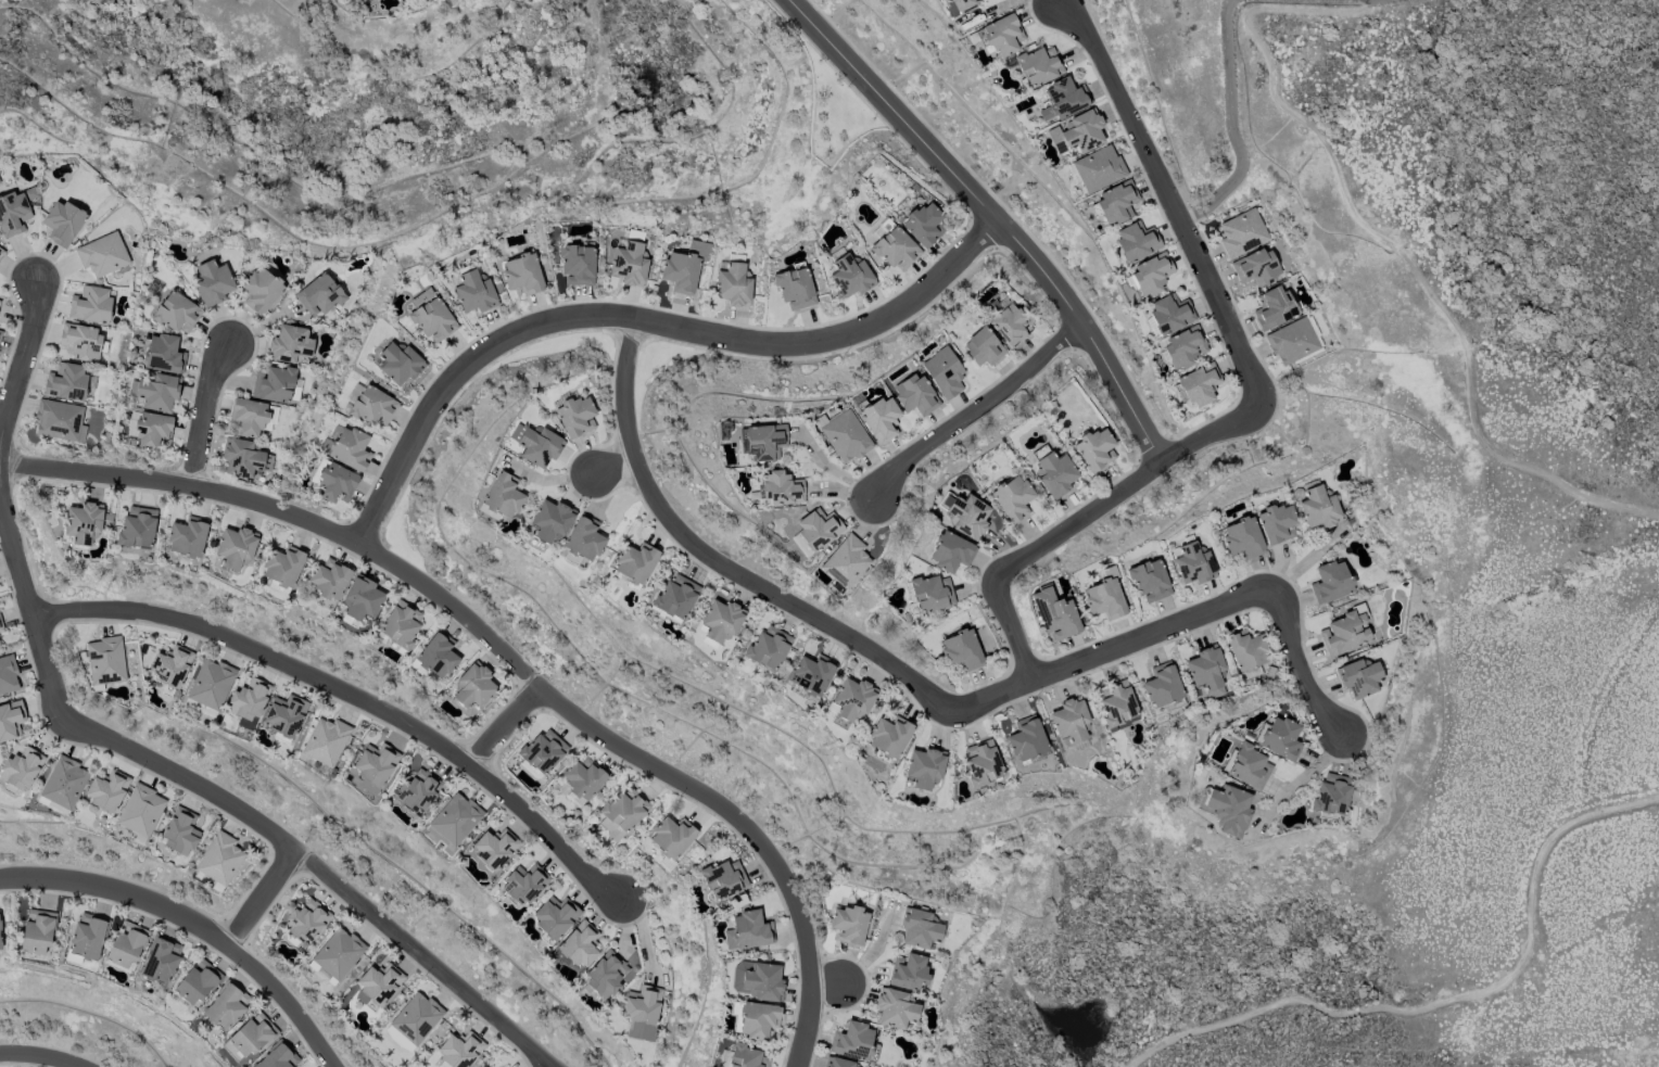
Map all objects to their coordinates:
building: (945, 1)
road: (1229, 1)
road: (1233, 2)
road: (1239, 5)
building: (960, 7)
road: (1307, 10)
road: (1244, 15)
building: (1002, 35)
building: (1038, 66)
building: (1064, 98)
road: (1231, 125)
building: (1077, 132)
building: (1096, 169)
road: (1166, 196)
building: (1115, 202)
building: (13, 214)
road: (991, 216)
building: (63, 223)
building: (923, 225)
building: (1242, 232)
building: (1134, 242)
building: (892, 245)
building: (1, 252)
building: (102, 254)
building: (630, 259)
building: (578, 264)
building: (1255, 267)
building: (683, 268)
building: (522, 274)
building: (1149, 275)
building: (851, 276)
building: (211, 282)
building: (733, 284)
building: (795, 287)
building: (261, 290)
building: (472, 290)
building: (319, 295)
building: (90, 304)
road: (1434, 304)
building: (1274, 307)
building: (175, 312)
building: (430, 315)
building: (1167, 315)
road: (642, 323)
building: (1006, 323)
building: (0, 334)
building: (81, 341)
building: (1294, 341)
building: (290, 344)
building: (983, 347)
building: (1182, 347)
building: (163, 354)
road: (22, 357)
building: (398, 363)
building: (942, 371)
building: (66, 382)
building: (276, 384)
building: (1198, 385)
building: (155, 392)
building: (914, 395)
building: (370, 405)
road: (976, 414)
building: (575, 415)
road: (200, 416)
building: (252, 417)
building: (877, 417)
building: (59, 420)
building: (149, 429)
road: (1213, 433)
building: (844, 434)
building: (763, 441)
building: (539, 446)
building: (346, 447)
building: (1093, 448)
building: (243, 458)
road: (607, 470)
building: (1052, 471)
building: (333, 481)
building: (777, 490)
building: (502, 496)
building: (1012, 498)
building: (1318, 508)
building: (967, 516)
building: (550, 521)
road: (1084, 523)
building: (1275, 523)
building: (80, 525)
building: (137, 528)
building: (815, 531)
building: (188, 536)
building: (1243, 538)
building: (583, 539)
building: (235, 548)
building: (950, 551)
building: (636, 562)
building: (845, 562)
building: (1191, 563)
road: (710, 567)
building: (281, 568)
building: (328, 579)
building: (1148, 580)
building: (1330, 582)
building: (927, 595)
building: (1104, 595)
building: (674, 598)
building: (360, 600)
building: (1053, 612)
road: (27, 619)
building: (719, 622)
building: (397, 625)
building: (0, 626)
building: (1345, 632)
road: (1012, 633)
building: (767, 649)
building: (1248, 649)
building: (961, 650)
road: (1110, 652)
building: (435, 656)
road: (502, 658)
building: (105, 661)
road: (1301, 666)
building: (170, 668)
building: (1206, 672)
building: (8, 674)
building: (811, 675)
building: (1359, 677)
building: (210, 686)
building: (1163, 688)
building: (471, 689)
road: (350, 697)
building: (249, 701)
building: (849, 702)
building: (1116, 703)
building: (284, 716)
building: (11, 720)
building: (1071, 722)
road: (501, 728)
building: (888, 738)
building: (1281, 739)
building: (325, 740)
building: (1027, 741)
building: (541, 753)
building: (377, 764)
building: (982, 764)
building: (1246, 765)
building: (924, 767)
building: (20, 769)
road: (1301, 778)
building: (582, 780)
building: (63, 783)
building: (417, 790)
building: (106, 792)
building: (1334, 797)
building: (1226, 808)
building: (140, 810)
building: (621, 813)
building: (452, 824)
building: (179, 831)
building: (670, 839)
building: (494, 848)
building: (219, 860)
road: (318, 871)
building: (722, 879)
building: (523, 884)
road: (261, 899)
building: (554, 918)
building: (305, 922)
road: (193, 923)
building: (848, 925)
building: (919, 928)
building: (37, 931)
building: (748, 931)
building: (87, 937)
building: (0, 943)
building: (126, 944)
building: (579, 944)
building: (337, 955)
building: (160, 960)
building: (908, 973)
building: (606, 975)
building: (197, 981)
building: (757, 981)
building: (377, 986)
road: (823, 986)
road: (1445, 1003)
building: (225, 1006)
building: (895, 1008)
building: (642, 1012)
building: (755, 1019)
building: (414, 1021)
road: (1477, 1029)
building: (249, 1037)
building: (854, 1042)
building: (459, 1050)
building: (277, 1056)
building: (745, 1057)
road: (37, 1058)
building: (837, 1063)

